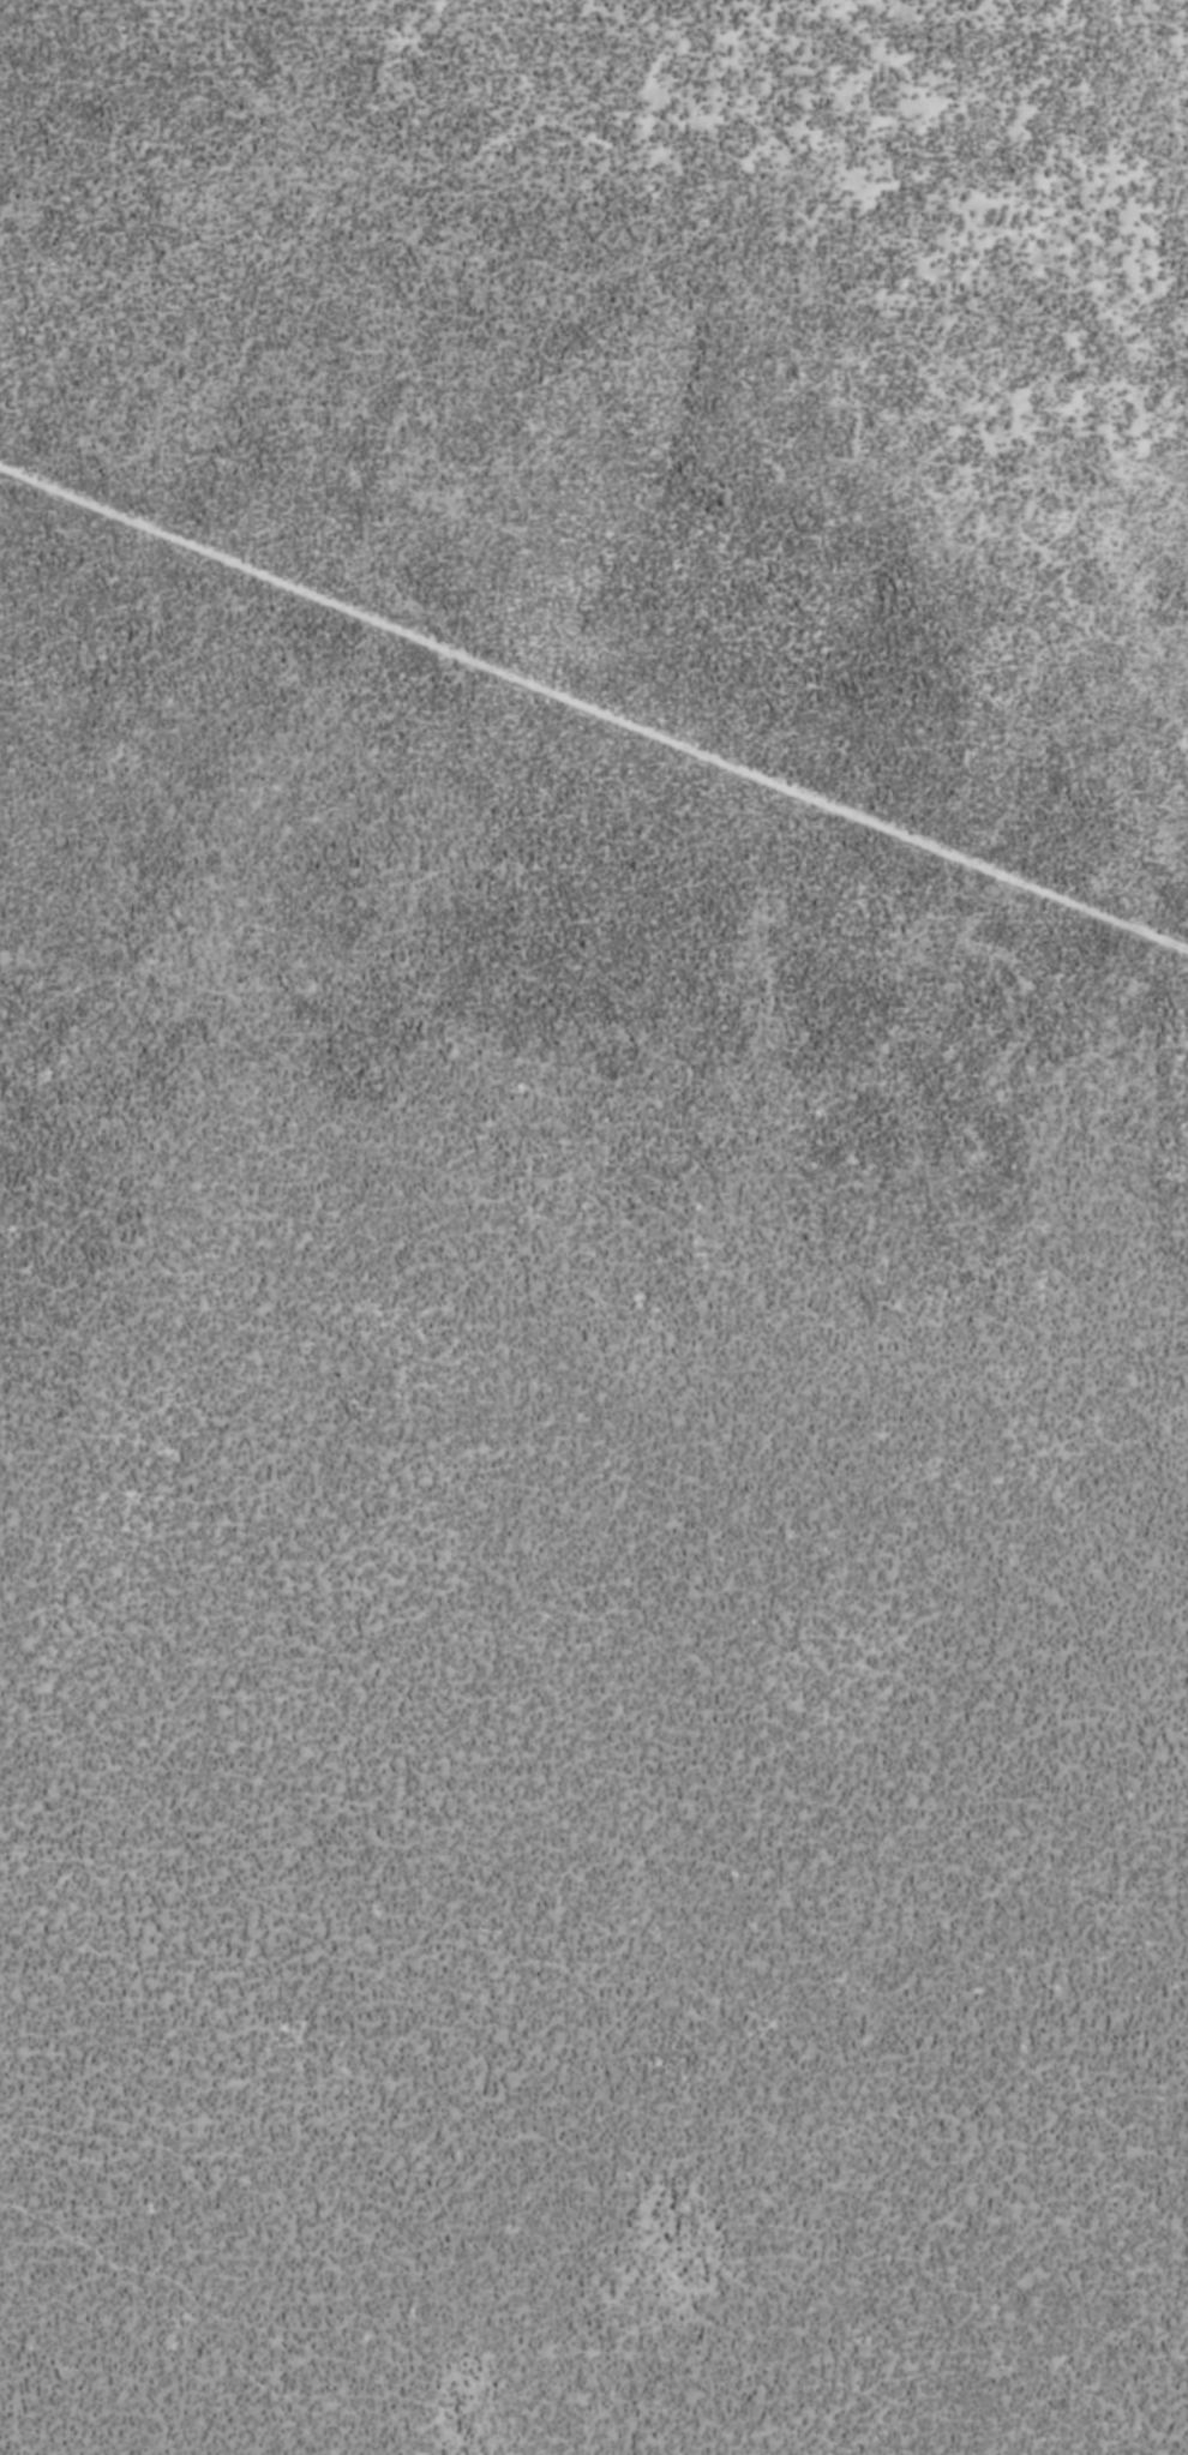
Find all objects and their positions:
road: (592, 707)

